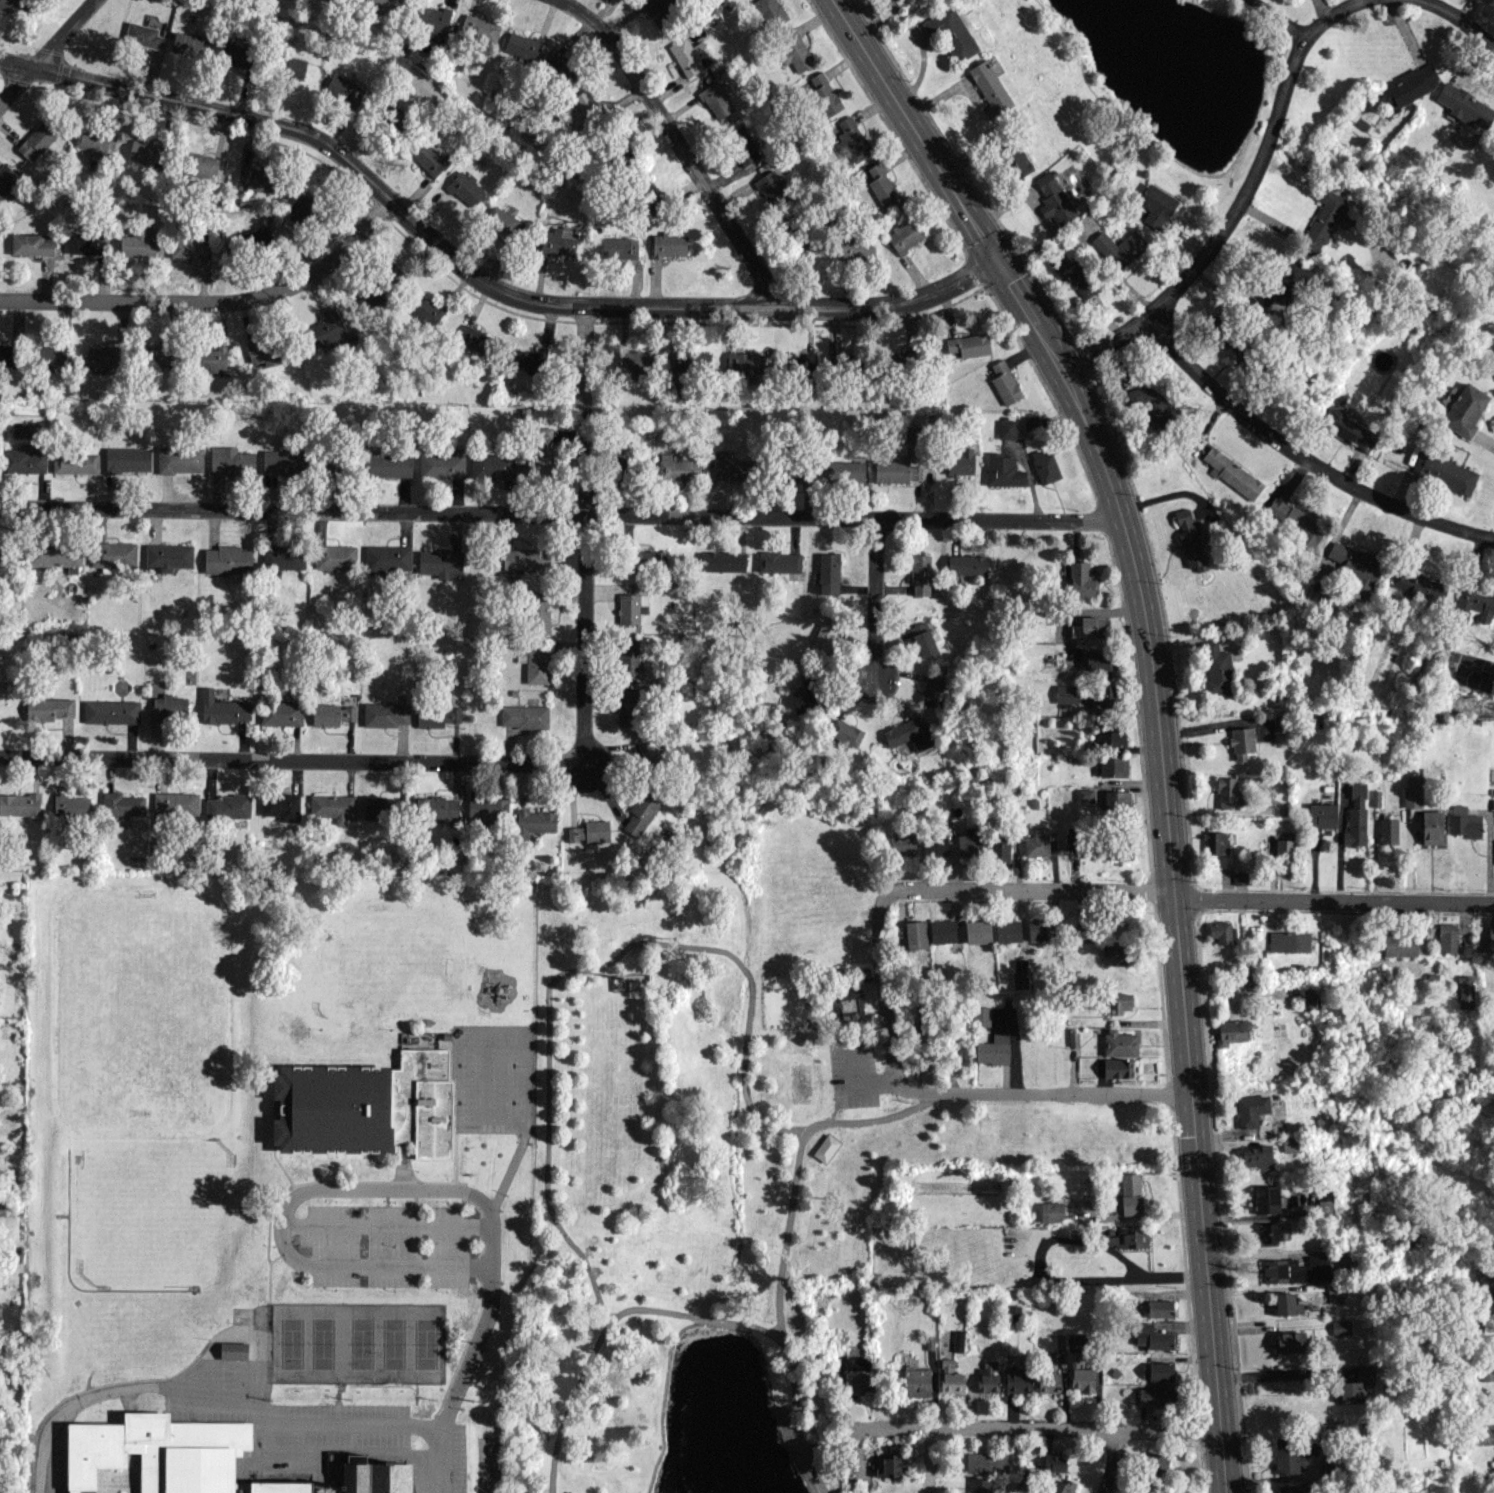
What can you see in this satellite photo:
building: (343, 0)
building: (12, 5)
building: (384, 6)
building: (656, 12)
building: (770, 12)
building: (432, 19)
road: (1278, 19)
road: (1449, 20)
building: (479, 29)
building: (950, 33)
building: (142, 35)
building: (188, 44)
building: (522, 46)
building: (794, 50)
road: (43, 52)
building: (236, 55)
building: (689, 55)
building: (559, 65)
building: (292, 66)
building: (1410, 85)
building: (344, 89)
building: (990, 89)
building: (824, 93)
building: (714, 94)
building: (1465, 106)
building: (582, 107)
road: (915, 133)
building: (37, 140)
building: (851, 140)
road: (678, 142)
building: (96, 143)
building: (146, 153)
building: (428, 157)
building: (1016, 161)
building: (199, 164)
building: (6, 179)
building: (257, 179)
building: (771, 186)
building: (882, 186)
building: (465, 188)
building: (1053, 198)
road: (1231, 202)
building: (1155, 205)
building: (303, 210)
building: (1324, 218)
building: (504, 223)
building: (905, 235)
building: (254, 238)
building: (559, 240)
building: (86, 243)
building: (137, 243)
building: (31, 244)
building: (669, 244)
building: (619, 247)
building: (856, 247)
building: (1118, 247)
building: (188, 248)
building: (393, 274)
road: (474, 276)
building: (1075, 278)
building: (1278, 283)
road: (211, 299)
building: (425, 311)
building: (329, 329)
building: (475, 340)
building: (969, 345)
building: (264, 350)
building: (8, 352)
building: (155, 355)
building: (52, 357)
building: (102, 358)
building: (212, 358)
building: (903, 359)
building: (528, 360)
building: (634, 361)
building: (692, 361)
building: (842, 361)
building: (744, 362)
building: (805, 364)
building: (1004, 382)
building: (1148, 400)
building: (1465, 410)
building: (1030, 422)
building: (1006, 428)
building: (1348, 429)
building: (538, 456)
building: (128, 459)
building: (180, 459)
building: (23, 460)
building: (231, 460)
road: (1301, 460)
building: (75, 462)
building: (283, 462)
building: (960, 462)
building: (389, 465)
building: (441, 465)
building: (492, 466)
building: (1044, 466)
building: (619, 467)
building: (677, 467)
building: (731, 468)
building: (796, 470)
building: (1002, 470)
building: (842, 471)
building: (895, 471)
building: (1443, 471)
building: (1232, 473)
road: (560, 513)
building: (1295, 521)
road: (582, 532)
building: (1190, 540)
building: (0, 552)
building: (52, 554)
building: (113, 555)
building: (168, 557)
building: (283, 557)
building: (335, 557)
building: (387, 557)
building: (525, 558)
building: (648, 559)
building: (227, 560)
building: (721, 561)
building: (779, 562)
building: (441, 563)
building: (967, 564)
building: (1356, 565)
building: (828, 573)
building: (920, 574)
building: (1082, 579)
building: (1417, 585)
road: (878, 596)
building: (1476, 603)
building: (631, 607)
building: (538, 613)
building: (1088, 627)
building: (823, 638)
building: (922, 639)
building: (629, 658)
building: (1101, 660)
building: (535, 665)
building: (1216, 668)
building: (932, 689)
building: (1066, 693)
building: (805, 696)
building: (1105, 697)
building: (1277, 700)
building: (50, 708)
building: (169, 708)
building: (627, 708)
building: (222, 709)
building: (111, 711)
building: (281, 713)
building: (332, 714)
building: (385, 714)
building: (437, 716)
building: (524, 716)
building: (1279, 722)
building: (845, 732)
building: (907, 733)
building: (1109, 734)
building: (1241, 742)
building: (649, 754)
road: (290, 755)
building: (1113, 765)
building: (1226, 792)
building: (1412, 793)
building: (1085, 794)
building: (1375, 797)
building: (1116, 799)
building: (175, 803)
building: (20, 804)
building: (122, 804)
building: (70, 805)
building: (227, 806)
building: (281, 806)
building: (333, 807)
building: (377, 807)
building: (437, 808)
building: (487, 808)
building: (642, 812)
building: (1322, 815)
building: (1356, 815)
building: (534, 822)
building: (1463, 822)
building: (1432, 827)
building: (1387, 830)
building: (589, 831)
building: (969, 842)
building: (1215, 842)
building: (1036, 843)
building: (934, 844)
building: (902, 845)
building: (999, 850)
building: (1118, 851)
building: (1284, 856)
road: (1166, 863)
building: (1239, 877)
road: (1032, 890)
traffic signals: (1169, 893)
road: (1331, 896)
building: (1039, 928)
building: (942, 931)
building: (977, 931)
building: (1007, 931)
building: (1222, 931)
building: (1082, 933)
building: (915, 934)
building: (1446, 937)
building: (1491, 938)
building: (1288, 941)
building: (1400, 945)
building: (1121, 953)
park: (381, 957)
road: (576, 971)
building: (1019, 980)
building: (1246, 980)
road: (882, 985)
building: (1310, 998)
building: (1119, 1002)
building: (850, 1003)
park: (140, 1008)
building: (980, 1015)
building: (1231, 1031)
building: (1119, 1043)
building: (993, 1049)
building: (1117, 1068)
parking lot: (851, 1075)
park: (494, 1079)
road: (1042, 1093)
building: (366, 1105)
building: (1250, 1109)
building: (1291, 1144)
building: (825, 1148)
building: (1257, 1156)
road: (797, 1163)
park: (695, 1192)
building: (1130, 1193)
building: (1267, 1199)
building: (1324, 1203)
building: (1051, 1211)
park: (145, 1219)
road: (269, 1222)
road: (283, 1223)
road: (386, 1225)
building: (1270, 1232)
building: (1129, 1238)
road: (1062, 1240)
parking lot: (388, 1244)
road: (279, 1255)
building: (1296, 1269)
building: (1485, 1282)
building: (1334, 1293)
building: (1287, 1304)
road: (648, 1308)
building: (1159, 1308)
building: (1013, 1312)
road: (487, 1313)
building: (1340, 1327)
road: (242, 1334)
building: (1152, 1336)
building: (1059, 1341)
building: (1289, 1342)
park: (358, 1343)
building: (234, 1351)
building: (987, 1366)
building: (1160, 1371)
parking lot: (223, 1372)
building: (1487, 1373)
road: (1279, 1374)
building: (856, 1375)
building: (1080, 1375)
building: (950, 1377)
building: (1017, 1380)
building: (1049, 1380)
building: (916, 1381)
building: (987, 1383)
building: (1359, 1386)
road: (662, 1392)
road: (213, 1394)
building: (1155, 1395)
parking lot: (211, 1417)
parking lot: (345, 1424)
road: (818, 1428)
road: (1032, 1428)
road: (341, 1454)
building: (166, 1455)
building: (1286, 1455)
parking lot: (458, 1458)
road: (803, 1460)
road: (1112, 1460)
road: (927, 1461)
building: (1054, 1461)
building: (986, 1462)
parking lot: (488, 1464)
building: (889, 1464)
building: (1154, 1464)
park: (120, 1477)
building: (377, 1478)
building: (978, 1485)
building: (1061, 1486)
building: (1291, 1489)

